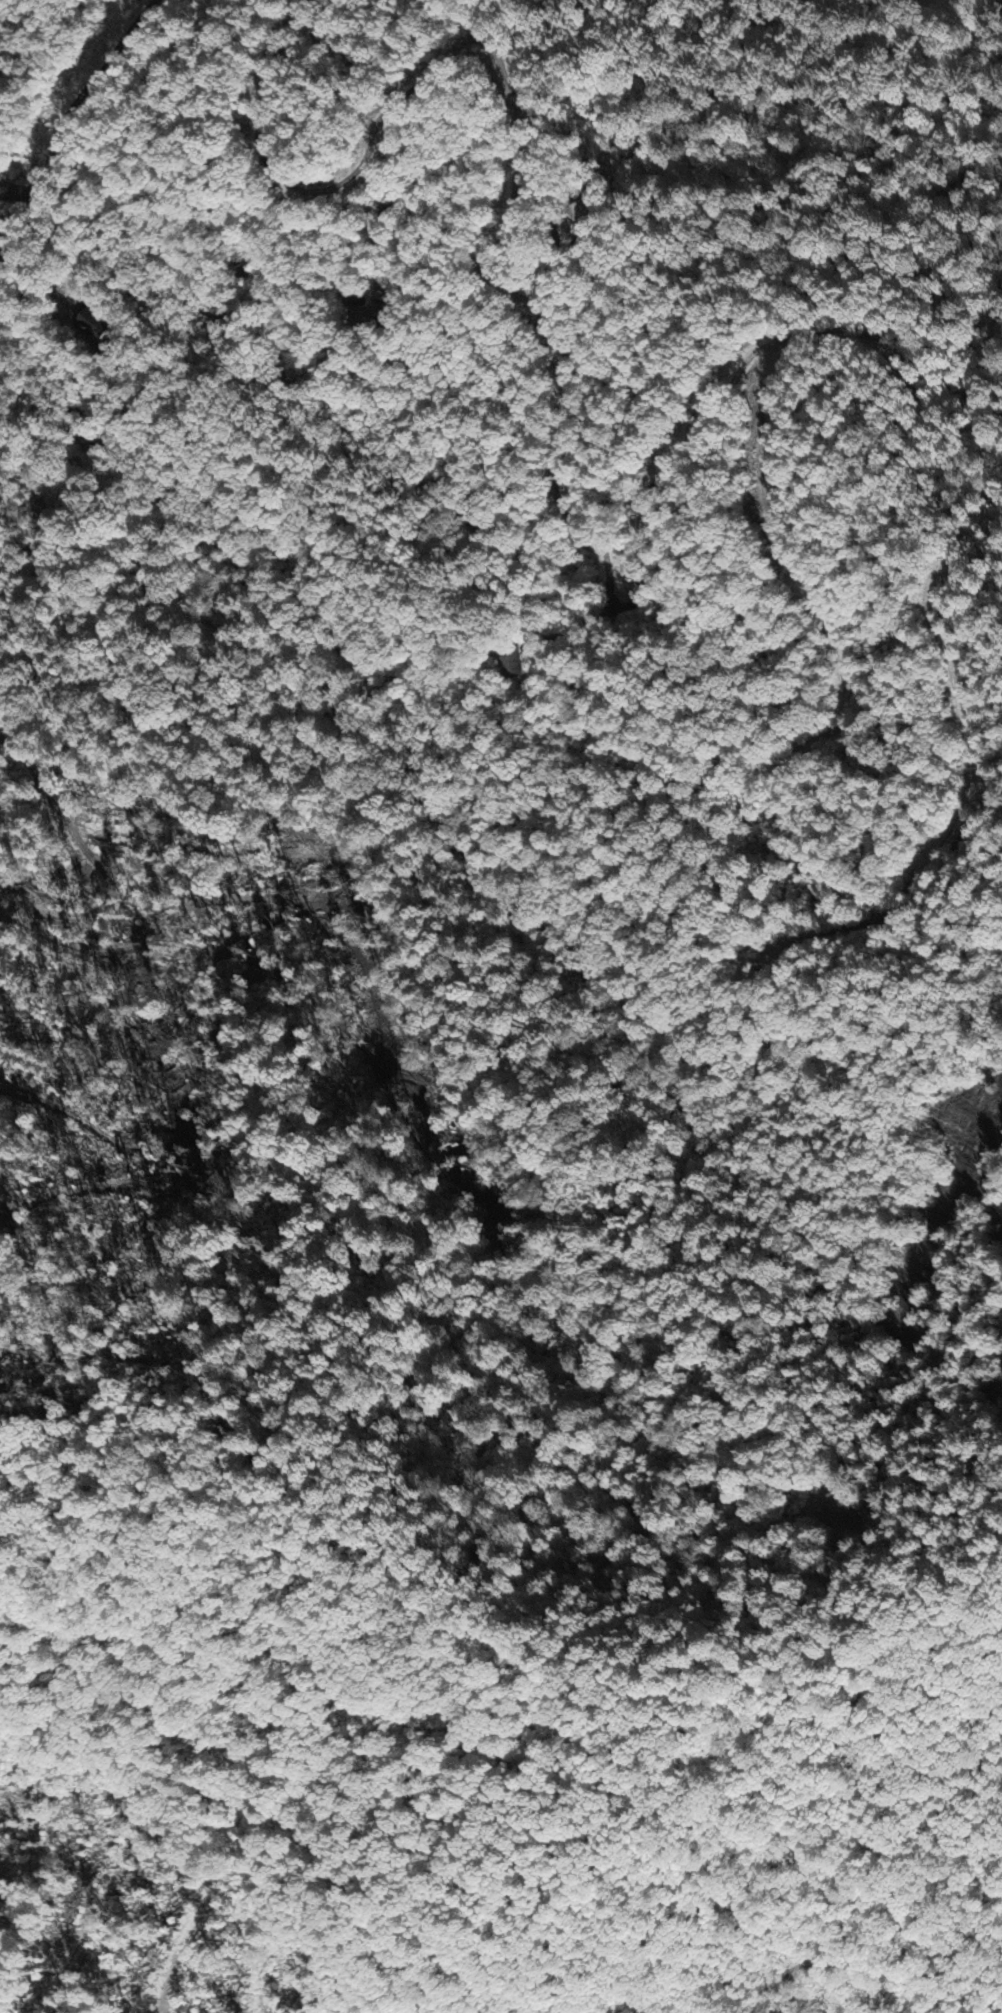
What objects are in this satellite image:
road: (991, 4)
road: (76, 102)
road: (29, 266)
building: (95, 323)
road: (562, 363)
building: (512, 665)

